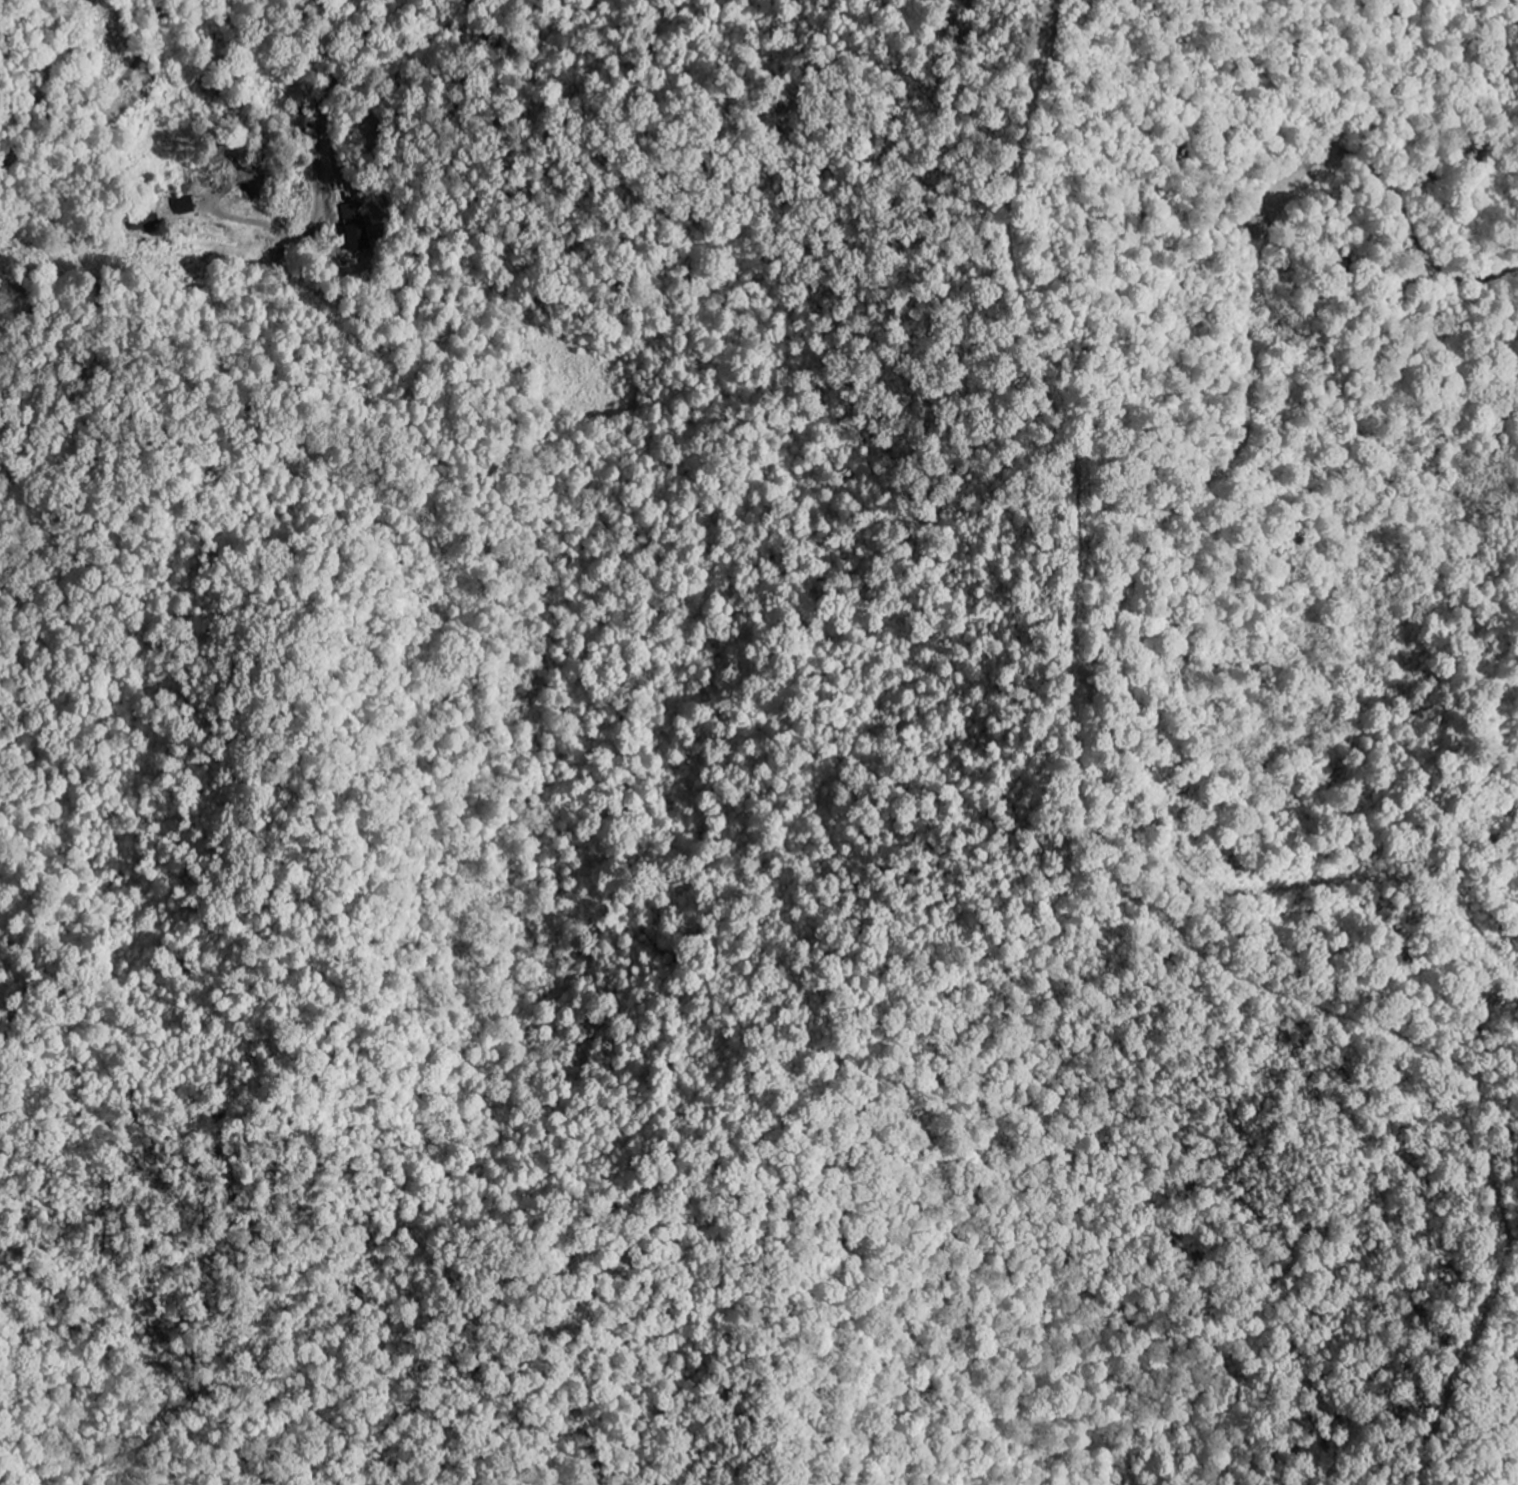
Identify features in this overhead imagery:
road: (102, 104)
road: (325, 112)
road: (1429, 204)
building: (186, 206)
building: (356, 229)

